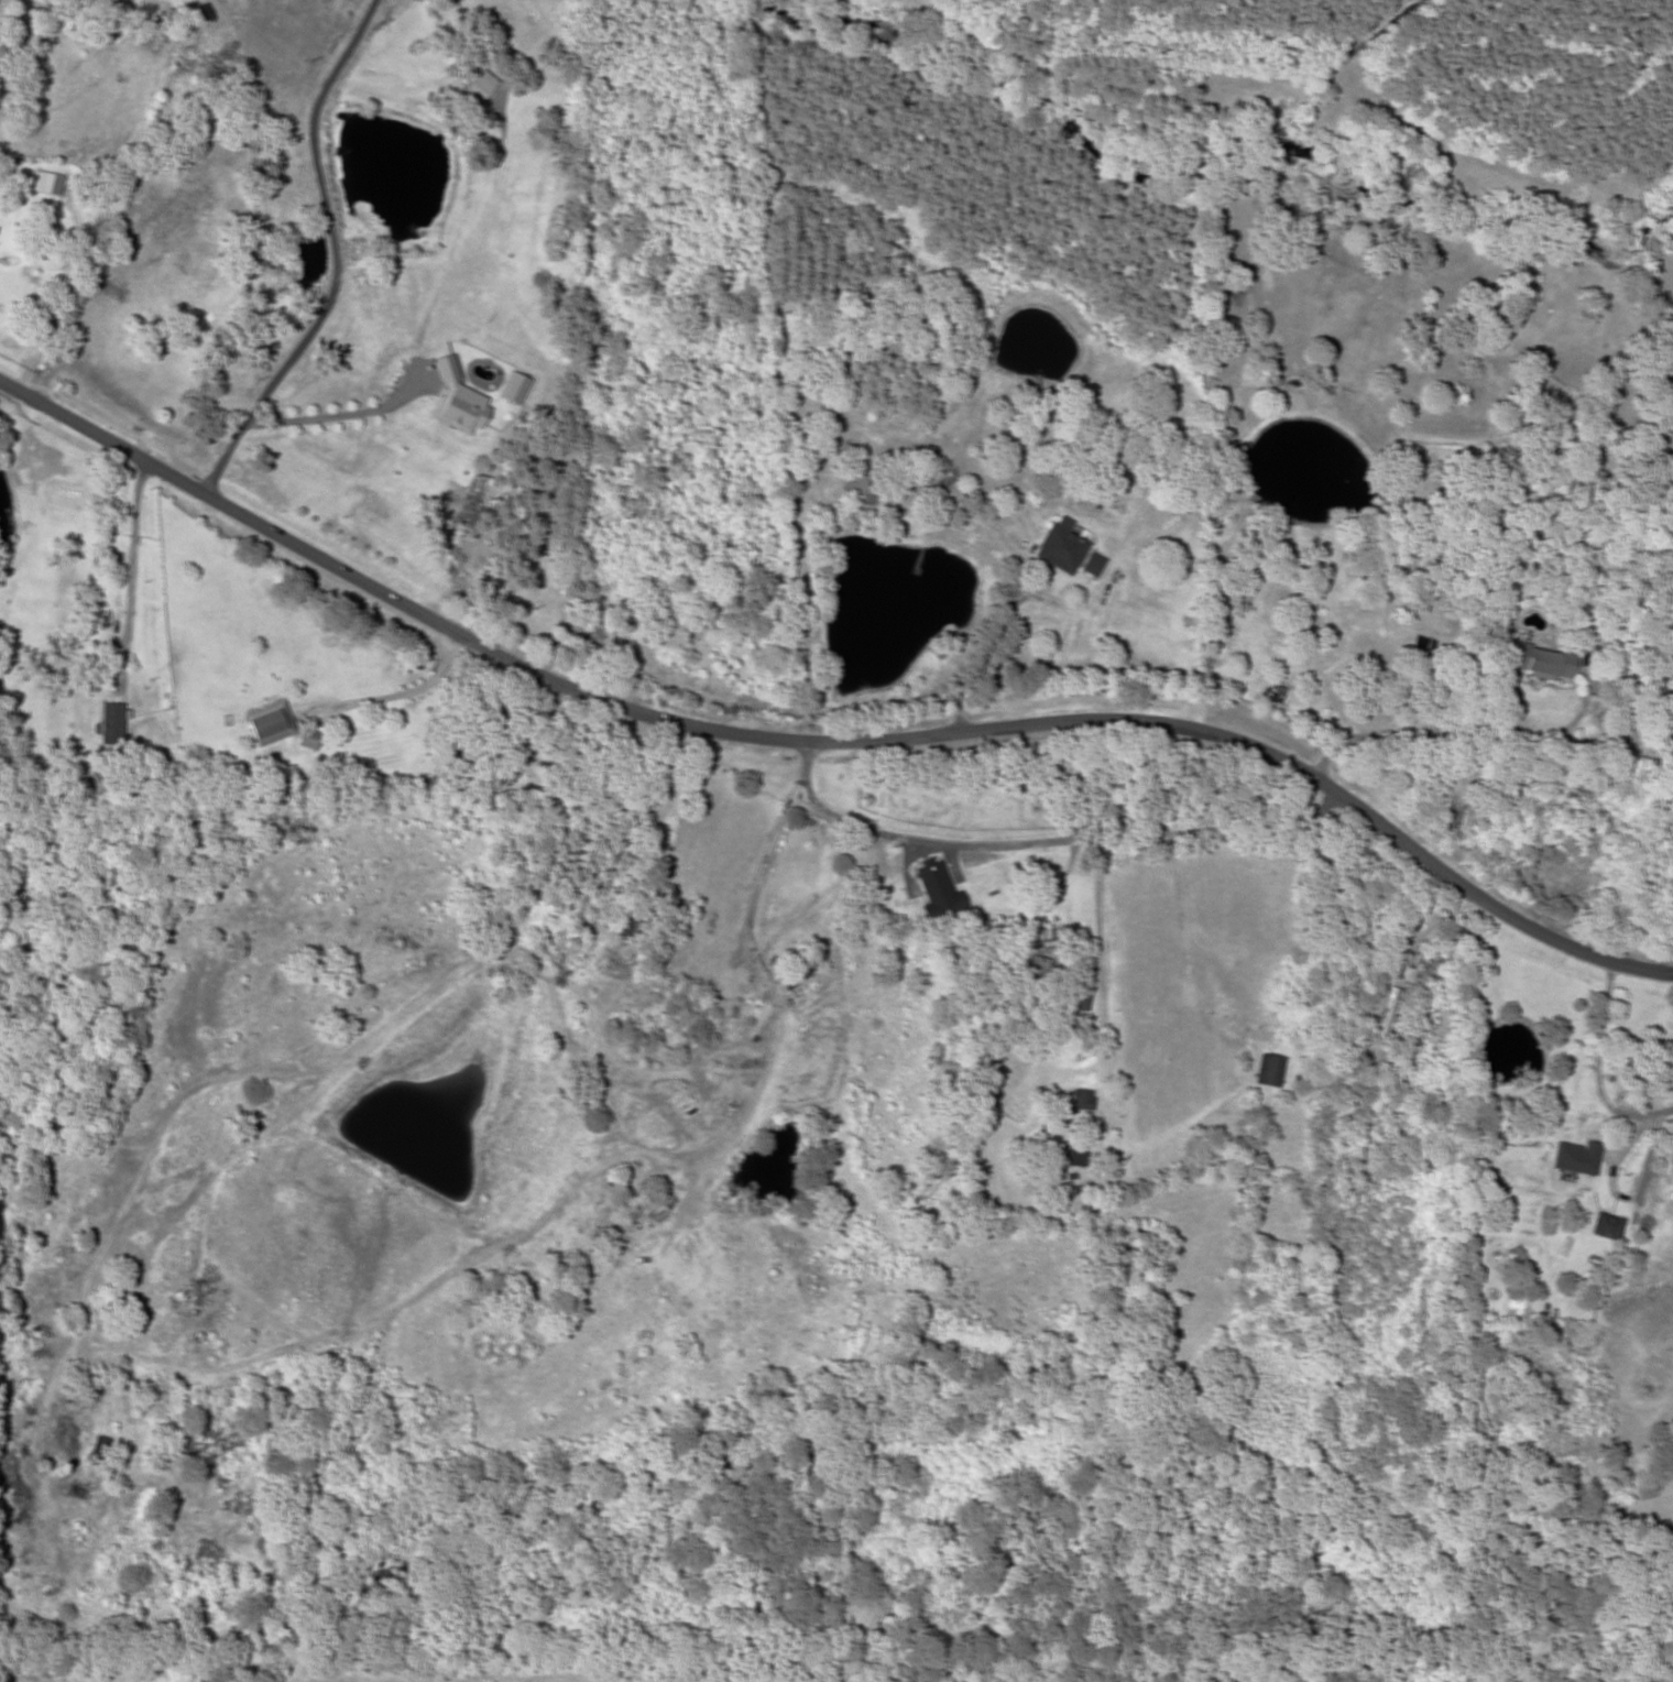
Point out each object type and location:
building: (48, 185)
road: (331, 256)
road: (338, 417)
building: (856, 481)
building: (1060, 549)
building: (1093, 565)
building: (1541, 662)
building: (484, 721)
building: (270, 724)
building: (309, 739)
road: (824, 742)
road: (1040, 847)
building: (936, 889)
building: (632, 926)
building: (799, 976)
building: (1075, 997)
road: (1108, 1022)
building: (1385, 1024)
road: (1139, 1069)
building: (1268, 1070)
building: (1081, 1100)
building: (1068, 1156)
building: (1576, 1158)
building: (657, 1209)
road: (1225, 1210)
building: (1606, 1226)

